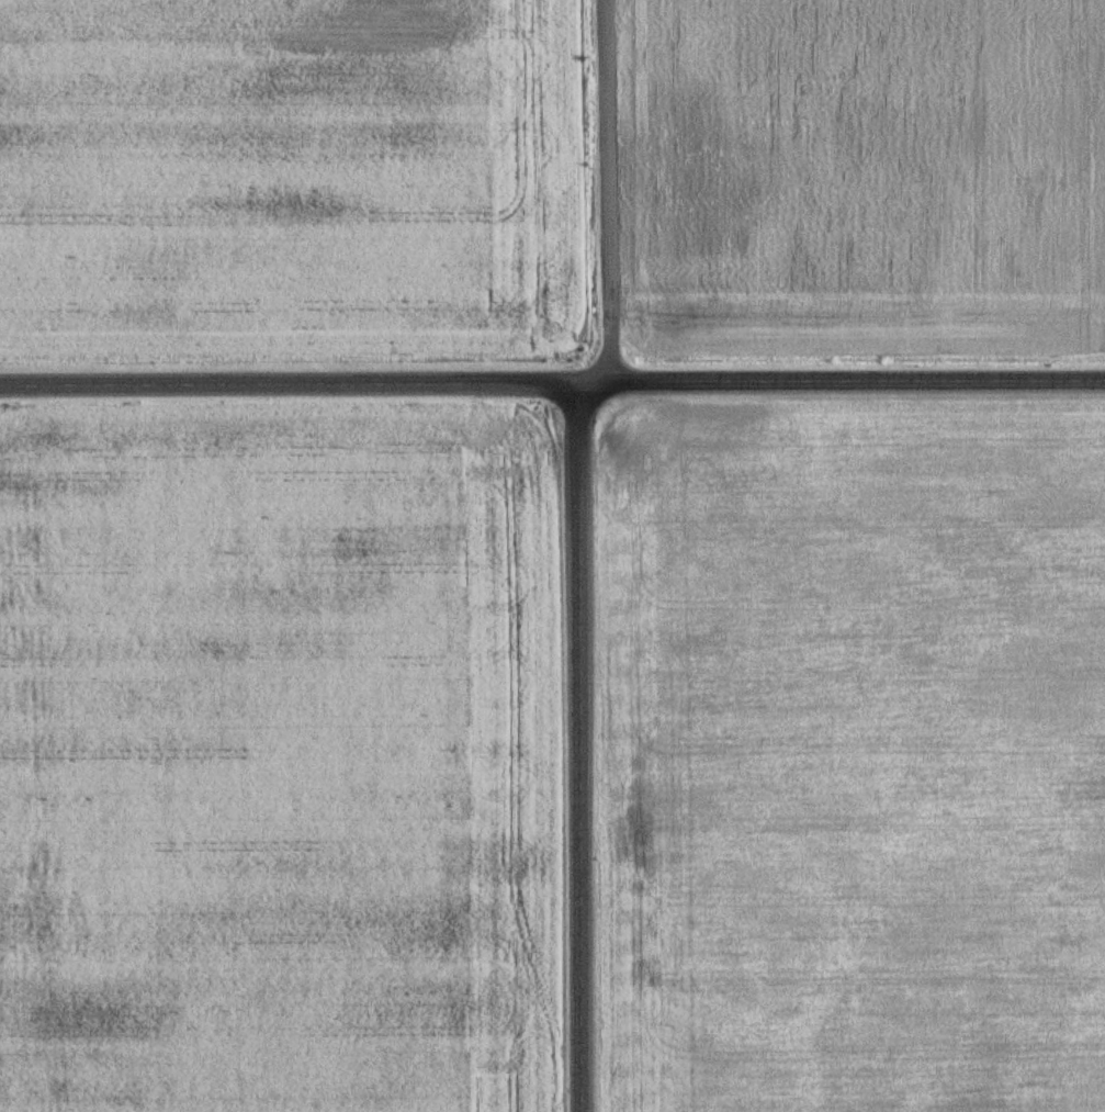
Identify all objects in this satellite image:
road: (606, 191)
road: (552, 383)
road: (577, 748)

